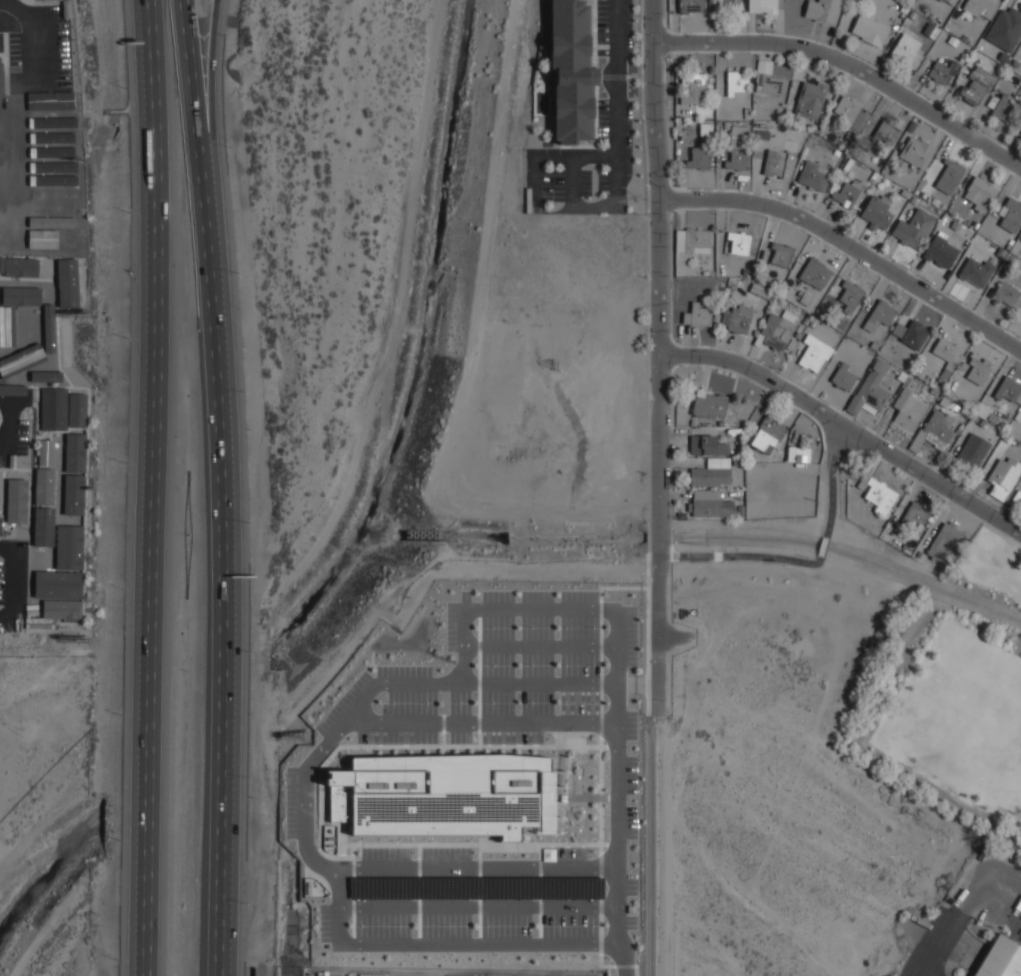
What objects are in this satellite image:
building: (940, 0)
building: (944, 0)
building: (951, 2)
building: (730, 5)
building: (690, 6)
building: (762, 6)
road: (20, 7)
building: (980, 8)
building: (822, 10)
building: (912, 15)
building: (932, 16)
building: (938, 20)
building: (870, 29)
building: (1005, 29)
building: (930, 30)
building: (964, 38)
building: (952, 41)
building: (905, 48)
parking lot: (38, 50)
road: (41, 52)
building: (1003, 57)
building: (1015, 63)
road: (848, 65)
building: (764, 66)
building: (998, 66)
building: (942, 71)
building: (575, 72)
building: (52, 78)
road: (617, 78)
building: (1012, 78)
building: (736, 82)
building: (769, 84)
building: (976, 86)
building: (692, 88)
building: (1020, 88)
road: (214, 95)
building: (47, 98)
building: (812, 98)
building: (992, 101)
building: (1001, 110)
building: (746, 112)
building: (852, 114)
building: (53, 116)
building: (679, 118)
building: (900, 123)
building: (718, 125)
building: (911, 126)
parking lot: (615, 127)
building: (47, 129)
building: (705, 129)
building: (885, 133)
building: (762, 135)
building: (47, 146)
building: (737, 147)
building: (836, 152)
building: (916, 152)
road: (576, 157)
building: (698, 158)
building: (779, 163)
building: (48, 167)
building: (720, 167)
building: (813, 175)
building: (949, 176)
building: (873, 177)
road: (535, 178)
road: (572, 181)
road: (618, 181)
building: (21, 184)
building: (53, 186)
building: (916, 192)
building: (905, 193)
building: (980, 193)
building: (847, 194)
building: (923, 194)
building: (913, 199)
building: (934, 201)
building: (54, 204)
road: (595, 206)
building: (878, 211)
building: (1010, 215)
building: (0, 220)
building: (56, 221)
building: (975, 224)
building: (22, 226)
building: (913, 228)
building: (8, 229)
building: (692, 241)
building: (1010, 241)
building: (738, 242)
road: (848, 245)
building: (55, 247)
building: (1008, 247)
building: (940, 251)
building: (1001, 253)
building: (780, 254)
road: (658, 265)
building: (22, 266)
building: (760, 266)
building: (745, 271)
building: (976, 271)
building: (705, 273)
building: (711, 273)
building: (815, 273)
building: (48, 277)
building: (64, 284)
building: (760, 291)
building: (799, 293)
building: (1005, 293)
building: (850, 296)
building: (806, 299)
building: (10, 302)
building: (697, 315)
building: (879, 315)
building: (715, 317)
building: (737, 319)
building: (806, 319)
building: (813, 322)
building: (33, 325)
building: (898, 329)
building: (776, 330)
building: (914, 334)
building: (797, 335)
building: (66, 344)
building: (790, 344)
building: (874, 345)
building: (814, 353)
road: (221, 354)
building: (946, 357)
road: (646, 362)
building: (880, 366)
building: (907, 367)
building: (977, 371)
building: (31, 373)
building: (901, 376)
building: (842, 377)
building: (915, 379)
building: (906, 380)
building: (1007, 389)
building: (934, 391)
road: (5, 393)
building: (869, 395)
building: (708, 404)
building: (54, 409)
building: (907, 409)
building: (78, 410)
building: (1017, 415)
building: (991, 417)
building: (974, 418)
road: (7, 422)
building: (693, 422)
building: (720, 423)
building: (982, 423)
building: (1001, 425)
road: (846, 426)
building: (960, 426)
building: (938, 429)
building: (957, 430)
building: (768, 434)
parking lot: (15, 436)
building: (1007, 438)
building: (918, 440)
building: (740, 441)
building: (707, 445)
building: (76, 451)
building: (973, 451)
building: (46, 452)
building: (739, 452)
building: (798, 454)
building: (60, 455)
building: (718, 462)
building: (736, 462)
building: (709, 476)
building: (1003, 477)
building: (44, 486)
road: (152, 487)
building: (63, 490)
road: (840, 493)
building: (877, 494)
building: (17, 500)
building: (1020, 501)
building: (708, 503)
building: (740, 511)
building: (914, 516)
building: (0, 524)
building: (43, 525)
road: (1001, 534)
road: (658, 537)
building: (897, 541)
building: (943, 541)
building: (70, 543)
road: (831, 550)
building: (907, 551)
building: (918, 554)
road: (746, 557)
building: (42, 570)
building: (68, 597)
road: (657, 620)
road: (615, 627)
road: (770, 635)
road: (539, 645)
road: (463, 668)
road: (459, 683)
parking lot: (512, 684)
park: (960, 692)
road: (479, 722)
road: (317, 753)
building: (445, 795)
parking lot: (298, 802)
road: (305, 802)
road: (226, 843)
road: (651, 847)
road: (617, 854)
road: (322, 864)
road: (518, 868)
road: (719, 868)
road: (983, 884)
road: (337, 885)
building: (469, 889)
parking lot: (477, 902)
road: (478, 906)
road: (947, 935)
road: (458, 942)
parking lot: (943, 946)
road: (623, 953)
building: (999, 958)
road: (923, 964)
road: (924, 972)
parking lot: (328, 974)
parking lot: (397, 975)

